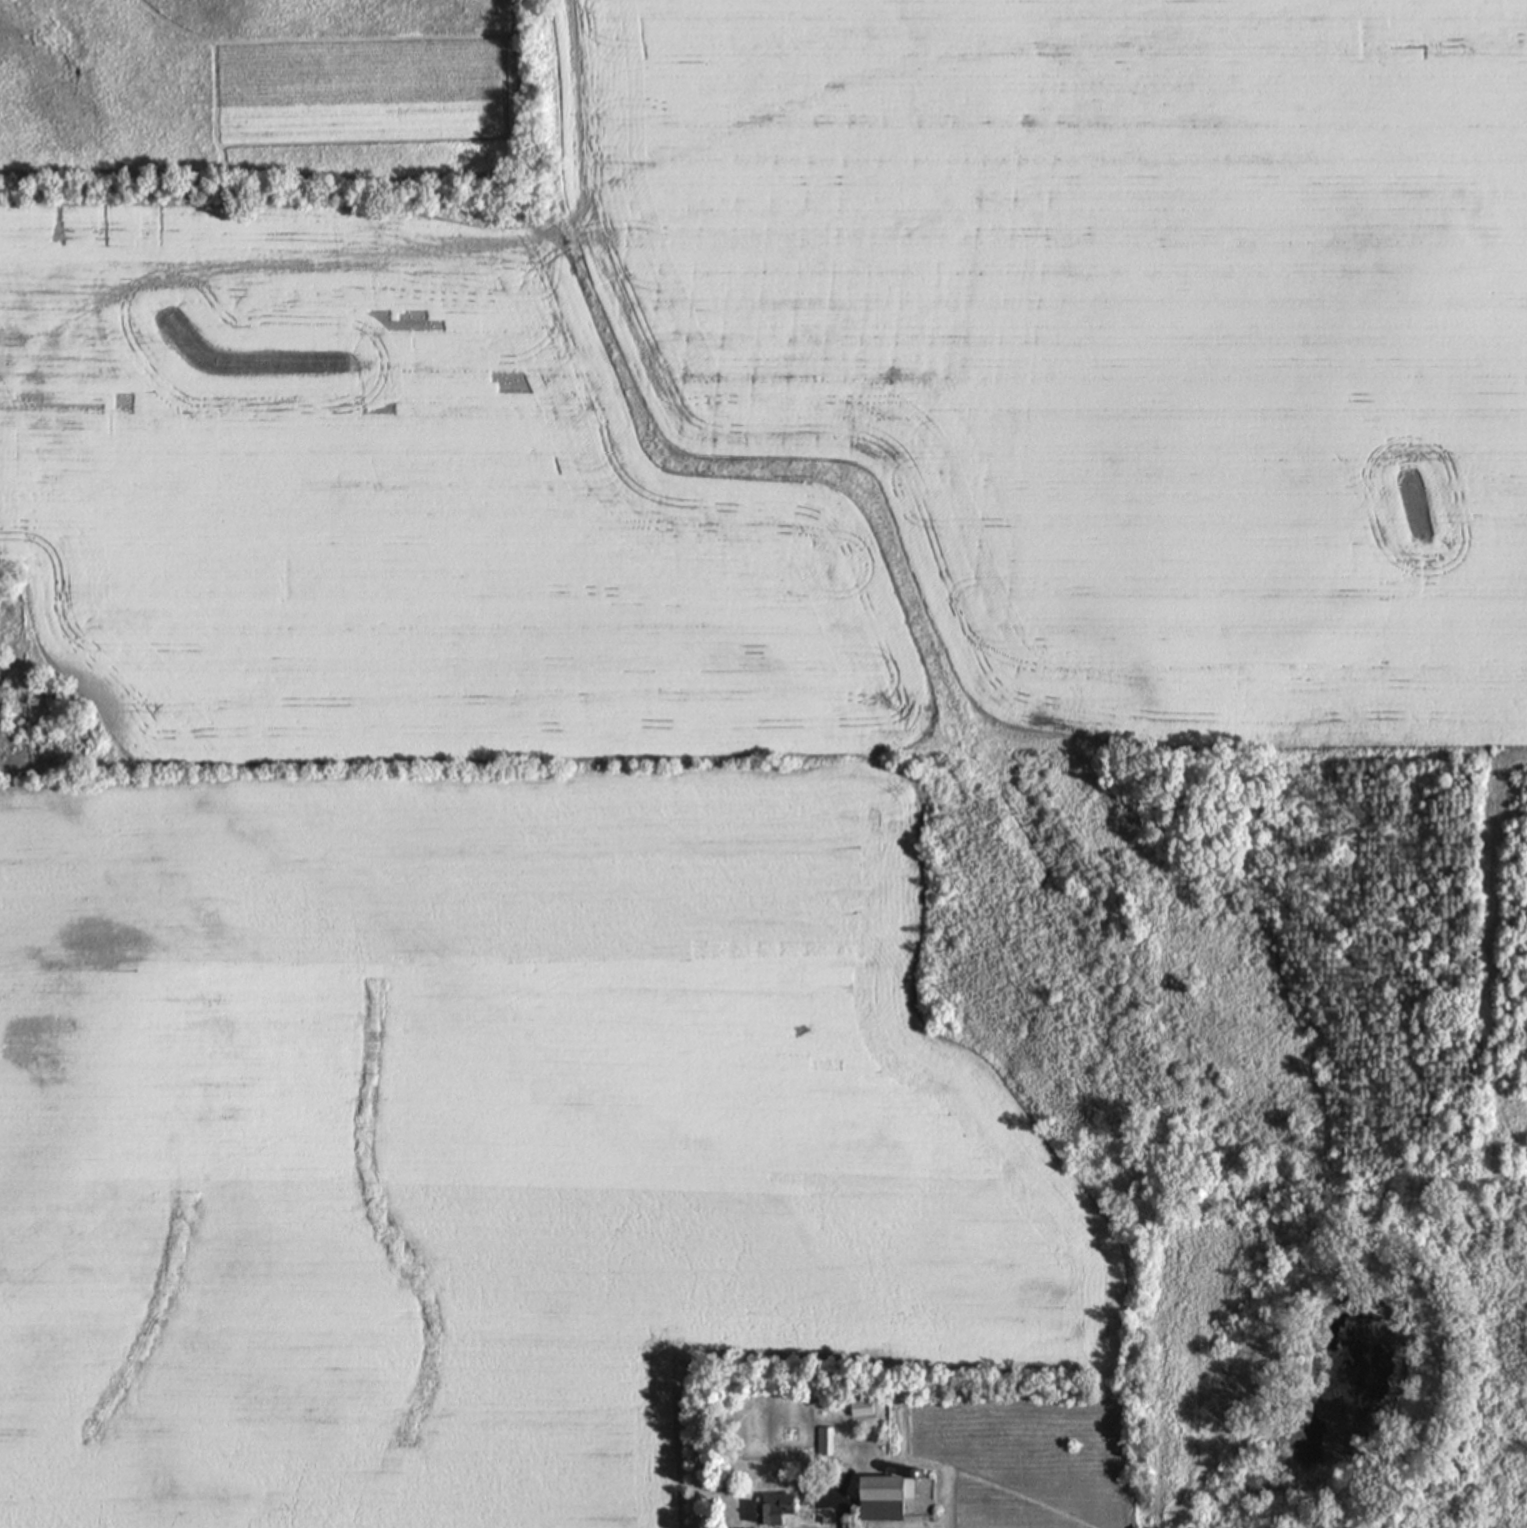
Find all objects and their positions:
building: (859, 1407)
building: (823, 1440)
building: (880, 1498)
building: (772, 1507)

